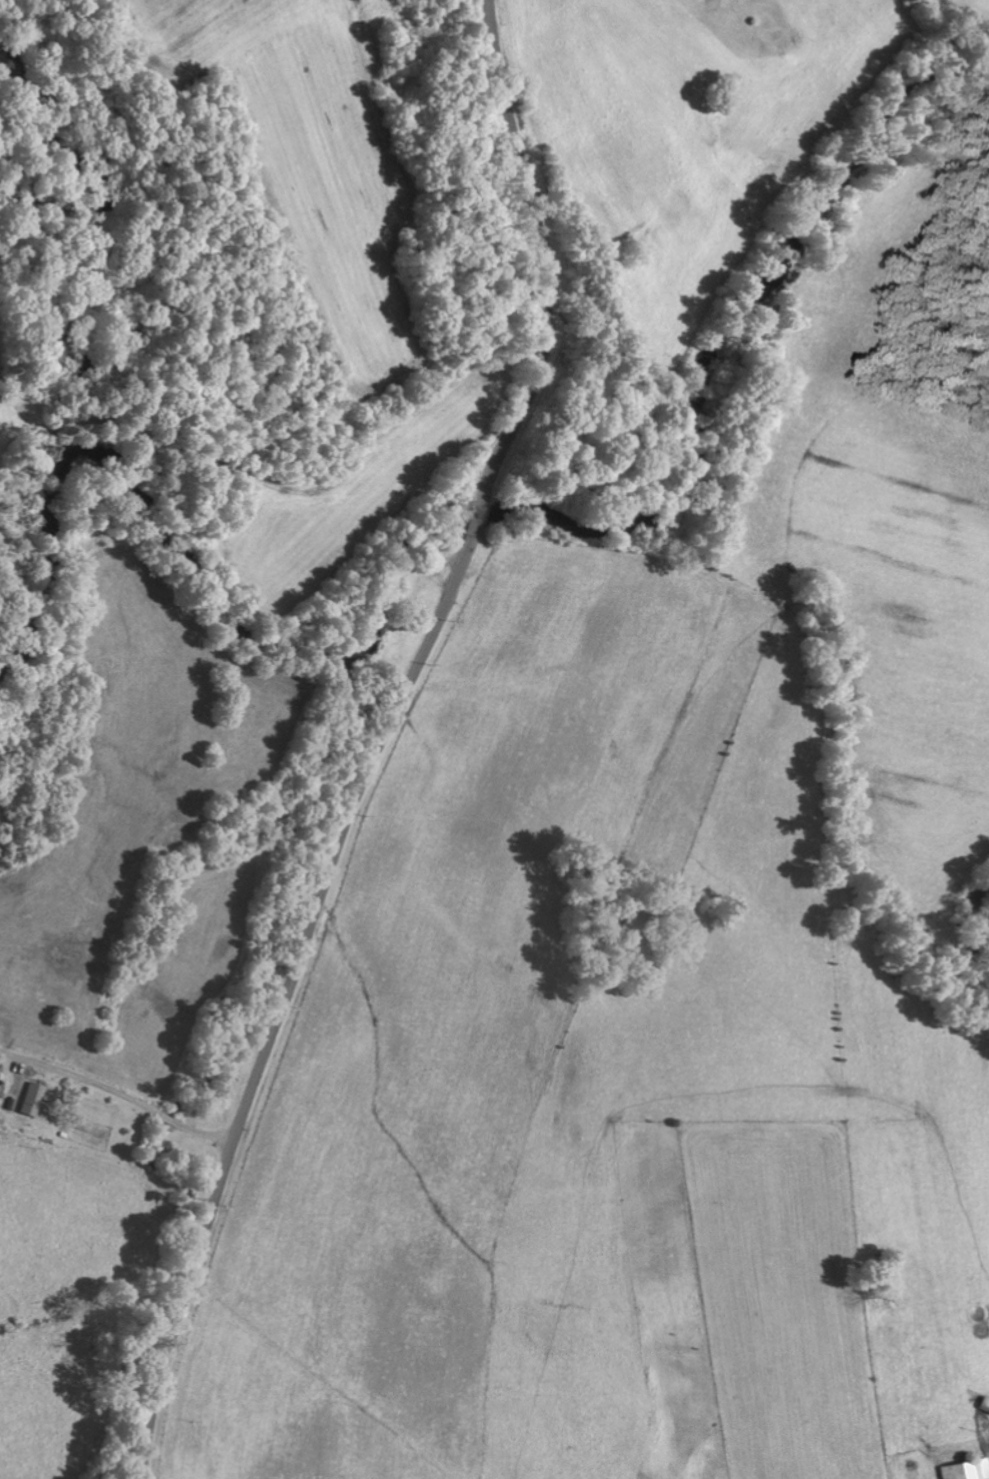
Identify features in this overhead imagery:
road: (381, 740)
road: (120, 1073)
building: (29, 1099)
building: (983, 1404)
building: (965, 1470)

